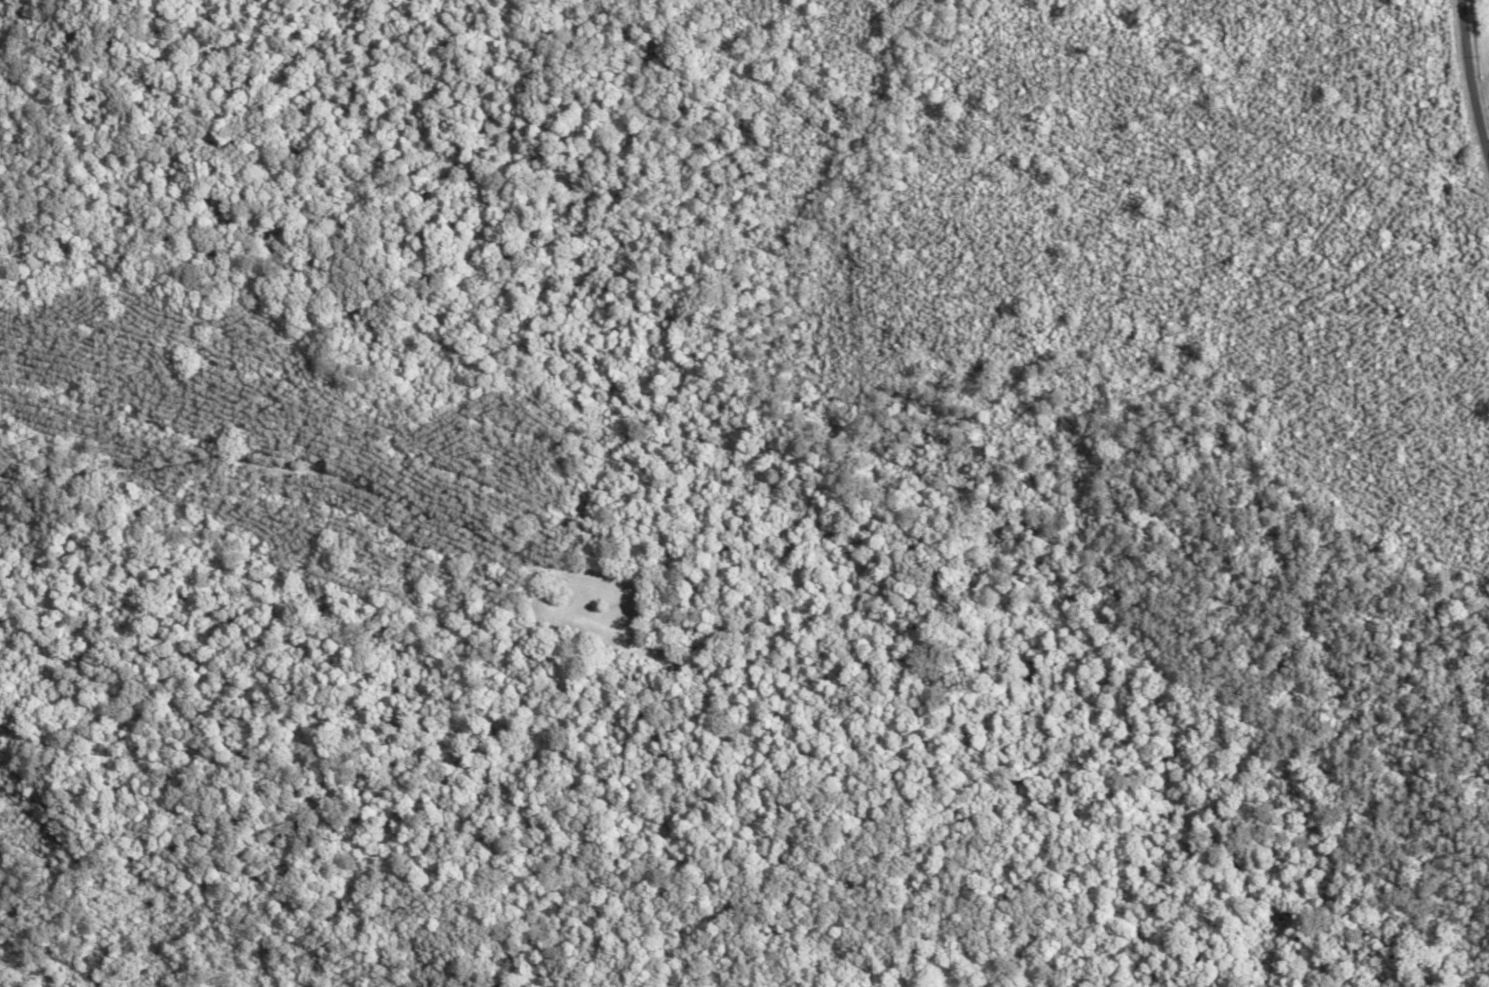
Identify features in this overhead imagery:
road: (1469, 82)

